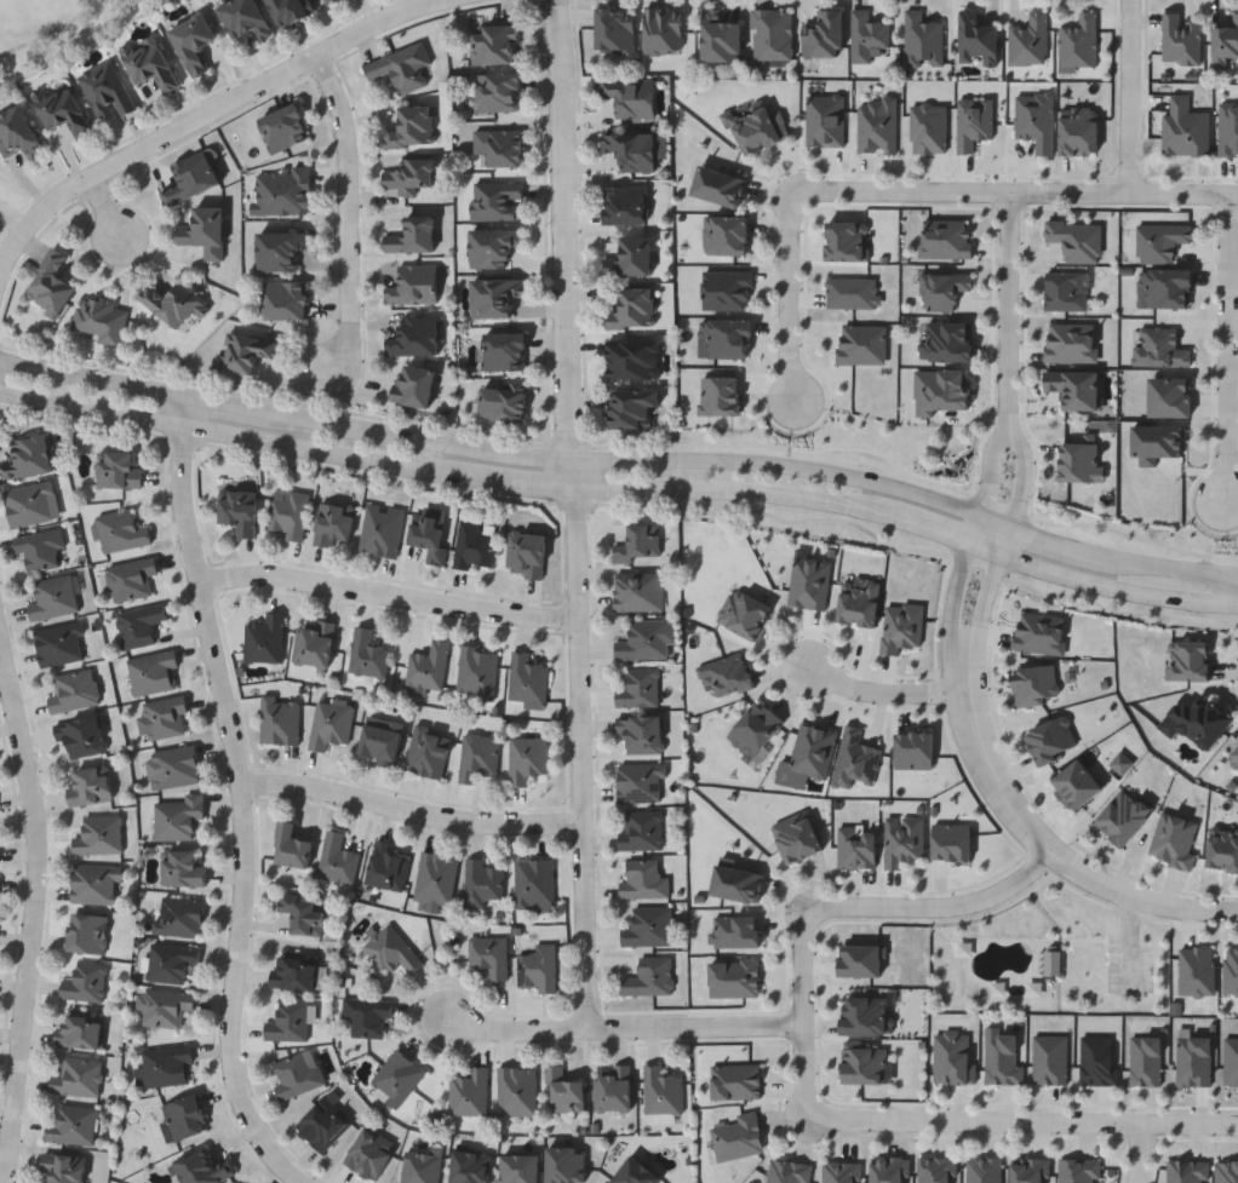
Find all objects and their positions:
building: (327, 1)
building: (288, 11)
building: (243, 19)
park: (55, 27)
building: (613, 29)
building: (661, 29)
building: (769, 35)
building: (823, 35)
building: (865, 36)
building: (718, 38)
building: (919, 40)
building: (975, 40)
building: (1179, 40)
building: (1223, 40)
building: (1026, 41)
building: (191, 42)
building: (1077, 42)
building: (492, 45)
building: (148, 65)
building: (399, 68)
building: (104, 91)
building: (495, 92)
building: (629, 97)
road: (1141, 97)
building: (61, 111)
road: (212, 115)
building: (876, 127)
building: (283, 128)
building: (409, 128)
building: (1183, 130)
building: (760, 131)
building: (17, 134)
building: (498, 148)
building: (630, 151)
building: (408, 177)
building: (190, 178)
building: (718, 186)
road: (1014, 191)
building: (281, 193)
building: (493, 200)
building: (623, 206)
road: (103, 212)
road: (348, 216)
road: (15, 218)
building: (204, 232)
building: (724, 235)
building: (411, 236)
road: (573, 241)
building: (844, 241)
building: (492, 248)
building: (279, 251)
building: (630, 258)
building: (48, 285)
building: (412, 286)
building: (1168, 288)
building: (941, 291)
building: (1064, 292)
road: (787, 297)
building: (493, 298)
building: (285, 300)
road: (1010, 302)
building: (172, 304)
building: (631, 311)
building: (98, 320)
building: (413, 337)
building: (724, 338)
building: (947, 343)
building: (860, 344)
building: (1158, 349)
road: (1223, 350)
building: (503, 351)
building: (245, 352)
building: (632, 360)
road: (96, 372)
building: (413, 385)
building: (1074, 389)
road: (237, 398)
building: (1169, 398)
building: (501, 403)
building: (631, 409)
road: (245, 436)
road: (634, 455)
building: (28, 458)
road: (993, 460)
road: (1022, 466)
building: (118, 470)
road: (534, 484)
road: (730, 493)
building: (30, 505)
building: (237, 511)
building: (287, 515)
road: (999, 516)
building: (333, 523)
road: (978, 528)
building: (119, 530)
building: (380, 530)
road: (927, 532)
building: (429, 536)
road: (1011, 539)
road: (1058, 539)
building: (638, 545)
road: (912, 545)
building: (471, 546)
building: (40, 550)
road: (990, 551)
building: (525, 555)
road: (1146, 559)
road: (1062, 574)
road: (1214, 574)
building: (128, 579)
building: (636, 592)
building: (52, 598)
road: (1179, 598)
road: (957, 601)
road: (395, 603)
building: (858, 603)
road: (988, 607)
building: (744, 614)
building: (137, 625)
building: (1039, 633)
building: (263, 639)
building: (643, 641)
building: (313, 644)
building: (59, 645)
building: (366, 655)
building: (1188, 661)
building: (426, 666)
building: (476, 672)
building: (150, 673)
building: (727, 674)
building: (526, 679)
building: (637, 689)
road: (879, 690)
building: (73, 691)
building: (164, 718)
building: (279, 720)
building: (1197, 722)
building: (328, 725)
building: (753, 731)
building: (80, 735)
building: (641, 735)
building: (379, 746)
building: (426, 753)
road: (586, 753)
building: (1234, 757)
building: (476, 758)
building: (525, 759)
building: (853, 760)
building: (174, 768)
building: (638, 783)
building: (1078, 786)
building: (88, 787)
road: (247, 788)
building: (177, 817)
building: (1123, 819)
road: (418, 826)
building: (640, 831)
building: (98, 837)
building: (796, 837)
road: (1047, 839)
building: (901, 843)
building: (291, 849)
building: (1223, 851)
building: (336, 860)
building: (385, 868)
building: (180, 869)
building: (641, 879)
building: (434, 880)
building: (93, 884)
building: (481, 884)
building: (737, 884)
building: (533, 885)
road: (883, 903)
road: (35, 907)
building: (303, 914)
building: (178, 917)
building: (646, 928)
building: (735, 932)
building: (86, 934)
building: (390, 951)
building: (488, 955)
building: (170, 961)
building: (860, 961)
building: (1056, 966)
building: (537, 969)
building: (293, 971)
building: (648, 978)
building: (84, 983)
building: (165, 1007)
building: (865, 1016)
building: (366, 1017)
building: (287, 1023)
road: (699, 1023)
road: (516, 1026)
building: (80, 1030)
building: (165, 1066)
building: (297, 1074)
building: (76, 1078)
building: (396, 1078)
building: (613, 1090)
building: (660, 1091)
building: (516, 1092)
building: (564, 1092)
building: (468, 1093)
building: (183, 1118)
road: (982, 1118)
building: (70, 1125)
road: (1146, 1152)
building: (369, 1153)
building: (469, 1166)
building: (63, 1167)
building: (201, 1167)
building: (520, 1168)
building: (634, 1173)

